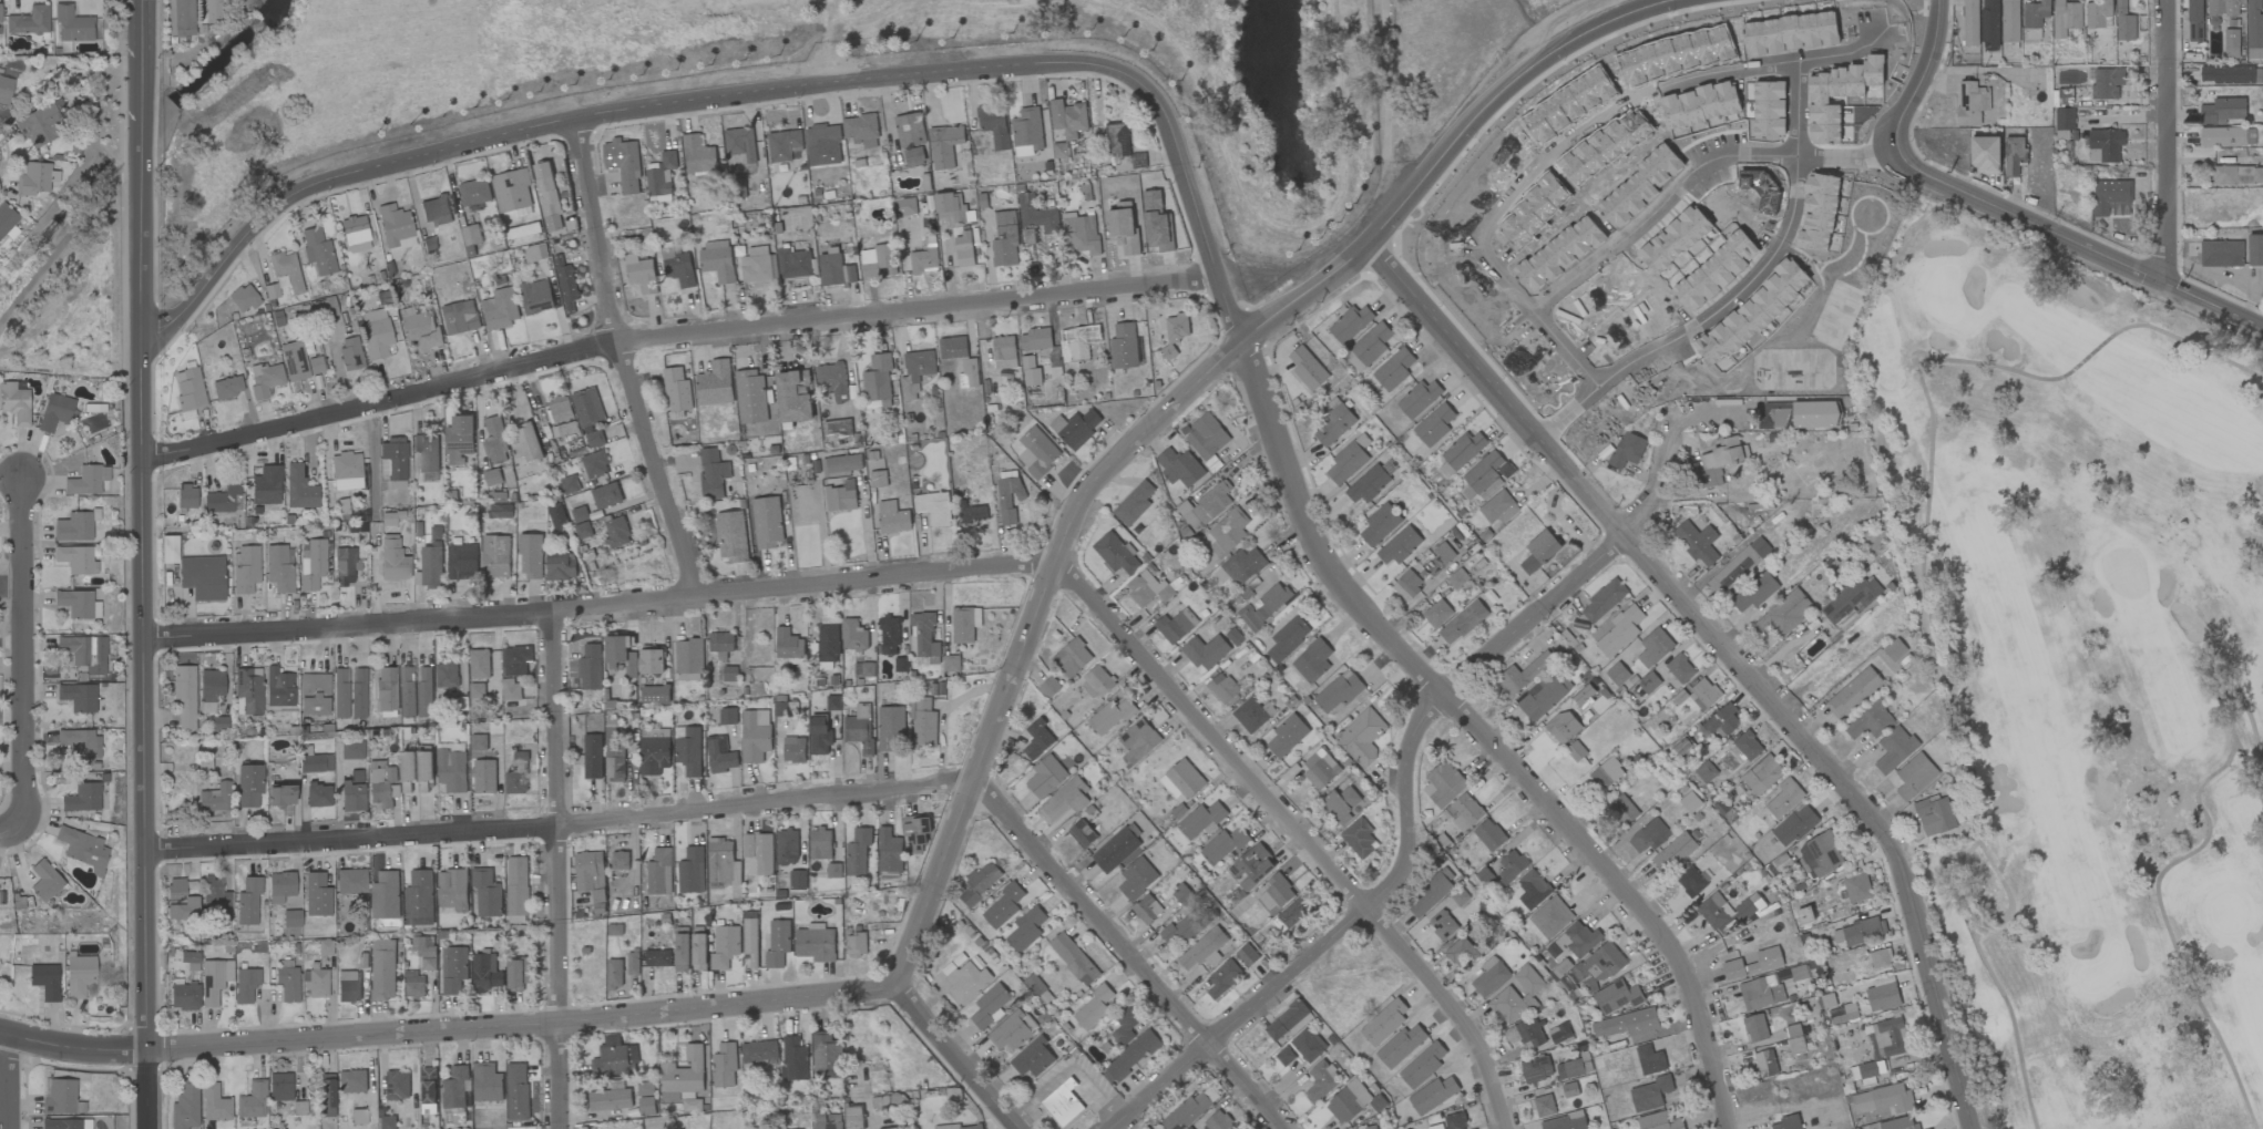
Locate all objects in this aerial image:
building: (243, 0)
building: (2224, 8)
building: (208, 10)
building: (2035, 13)
building: (2099, 14)
building: (178, 17)
building: (2065, 18)
road: (143, 19)
building: (28, 20)
building: (2009, 20)
building: (2194, 20)
building: (1969, 22)
building: (1989, 22)
building: (2123, 22)
building: (71, 23)
building: (2254, 30)
building: (1789, 33)
road: (830, 41)
building: (2231, 43)
building: (2230, 74)
road: (1921, 78)
building: (2107, 83)
building: (4, 89)
road: (142, 89)
building: (2064, 96)
building: (1700, 104)
building: (1968, 104)
road: (1795, 109)
road: (1382, 110)
road: (1614, 110)
building: (2222, 111)
building: (1068, 117)
building: (2064, 121)
building: (994, 124)
building: (35, 126)
building: (860, 130)
building: (909, 130)
building: (1026, 132)
building: (2222, 136)
road: (1176, 140)
building: (821, 142)
road: (2165, 142)
building: (740, 144)
building: (782, 145)
building: (944, 145)
building: (2105, 145)
building: (1122, 146)
building: (1985, 154)
building: (697, 155)
building: (2014, 155)
building: (913, 156)
building: (662, 175)
building: (2238, 175)
building: (1761, 189)
building: (474, 192)
building: (512, 193)
building: (547, 196)
building: (2111, 198)
building: (904, 207)
building: (950, 207)
building: (436, 211)
building: (1819, 212)
building: (1036, 215)
building: (6, 217)
building: (1157, 223)
building: (395, 226)
building: (1123, 228)
building: (355, 233)
building: (1081, 234)
building: (471, 235)
road: (64, 237)
building: (1004, 239)
building: (1673, 239)
road: (1617, 243)
road: (2076, 243)
building: (963, 249)
building: (2255, 249)
building: (317, 250)
building: (534, 253)
building: (2221, 254)
road: (1767, 260)
building: (717, 261)
building: (878, 261)
building: (793, 263)
building: (756, 265)
building: (677, 267)
building: (286, 269)
building: (834, 270)
building: (1714, 271)
building: (641, 274)
park: (66, 275)
building: (565, 285)
building: (243, 297)
building: (535, 297)
building: (500, 309)
building: (1753, 311)
building: (459, 317)
building: (1350, 324)
building: (419, 328)
building: (375, 332)
building: (1175, 332)
road: (675, 338)
building: (1035, 339)
building: (1124, 346)
building: (1368, 347)
building: (1076, 348)
building: (1004, 352)
building: (349, 353)
building: (298, 361)
road: (623, 363)
building: (969, 366)
building: (1307, 369)
building: (1394, 369)
building: (1031, 371)
building: (915, 372)
building: (264, 379)
building: (831, 380)
building: (877, 382)
building: (715, 383)
building: (226, 387)
building: (188, 389)
building: (676, 390)
building: (750, 397)
building: (792, 397)
building: (1419, 399)
building: (14, 402)
building: (587, 407)
building: (53, 411)
building: (561, 411)
road: (1568, 412)
building: (1776, 413)
building: (1815, 414)
building: (1333, 422)
building: (1434, 425)
building: (1075, 428)
building: (837, 429)
building: (1206, 437)
building: (459, 440)
building: (594, 440)
building: (494, 441)
building: (526, 443)
building: (1627, 450)
building: (427, 452)
building: (1036, 452)
building: (1462, 452)
building: (1348, 460)
building: (392, 461)
building: (1720, 461)
building: (841, 463)
building: (595, 464)
building: (1179, 468)
building: (346, 471)
building: (1487, 472)
building: (711, 474)
building: (878, 479)
building: (86, 480)
building: (266, 484)
building: (570, 484)
building: (1368, 484)
building: (298, 487)
building: (185, 495)
building: (606, 495)
building: (840, 496)
building: (222, 499)
building: (1008, 499)
building: (1134, 503)
building: (1208, 506)
building: (933, 507)
building: (1498, 507)
building: (971, 513)
building: (578, 514)
building: (555, 515)
building: (892, 517)
building: (767, 522)
building: (1379, 524)
building: (72, 526)
building: (581, 531)
building: (617, 533)
building: (1226, 533)
building: (731, 536)
building: (1697, 543)
building: (1399, 546)
building: (168, 548)
building: (1539, 552)
building: (1115, 554)
building: (495, 556)
building: (531, 556)
building: (76, 558)
building: (391, 560)
building: (310, 562)
building: (462, 562)
building: (342, 565)
building: (431, 566)
building: (561, 566)
building: (1738, 566)
building: (1240, 567)
building: (245, 568)
building: (277, 568)
road: (963, 571)
building: (202, 576)
building: (1407, 585)
road: (9, 586)
building: (1143, 587)
building: (1754, 592)
road: (143, 595)
building: (1850, 598)
building: (1602, 601)
building: (74, 603)
building: (1264, 606)
building: (1437, 614)
building: (1785, 614)
building: (1462, 623)
building: (964, 624)
building: (1176, 626)
building: (1620, 630)
building: (889, 635)
building: (853, 636)
building: (1287, 639)
building: (828, 643)
building: (720, 644)
building: (788, 644)
road: (1790, 644)
building: (1655, 647)
building: (1894, 649)
building: (84, 651)
building: (1206, 651)
road: (19, 653)
road: (1729, 653)
building: (621, 654)
building: (688, 656)
building: (1072, 658)
building: (651, 659)
building: (515, 660)
building: (1311, 660)
building: (479, 664)
building: (949, 664)
building: (590, 668)
building: (1680, 669)
park: (2083, 669)
building: (1523, 674)
building: (1617, 674)
building: (447, 675)
building: (1096, 682)
building: (278, 687)
building: (1225, 687)
building: (209, 688)
building: (1048, 688)
building: (247, 690)
building: (475, 690)
building: (511, 690)
building: (1340, 690)
building: (358, 691)
building: (386, 691)
building: (407, 691)
building: (314, 692)
building: (340, 692)
building: (424, 692)
building: (1853, 692)
building: (184, 695)
building: (655, 695)
building: (1703, 695)
building: (78, 696)
building: (1543, 696)
building: (832, 702)
building: (1252, 715)
building: (727, 716)
building: (1112, 716)
building: (1720, 720)
building: (1870, 721)
building: (216, 722)
building: (923, 723)
building: (1563, 727)
building: (859, 728)
building: (890, 729)
building: (654, 732)
building: (755, 735)
building: (819, 735)
building: (1287, 736)
building: (1361, 738)
road: (1415, 739)
building: (1037, 740)
road: (989, 741)
building: (1137, 741)
building: (80, 742)
building: (478, 742)
building: (1748, 746)
building: (350, 749)
building: (793, 749)
building: (1894, 749)
building: (688, 750)
building: (1575, 751)
building: (614, 753)
building: (720, 755)
building: (654, 756)
building: (592, 757)
building: (314, 762)
building: (1320, 768)
building: (408, 770)
building: (452, 770)
building: (424, 771)
building: (1706, 771)
building: (1606, 773)
building: (1762, 774)
building: (483, 777)
building: (516, 777)
building: (1046, 777)
building: (1914, 777)
building: (1181, 780)
building: (381, 783)
building: (248, 784)
building: (1443, 784)
building: (351, 791)
building: (317, 794)
building: (279, 796)
building: (81, 797)
building: (214, 797)
road: (792, 798)
building: (1784, 798)
building: (1065, 800)
building: (1690, 802)
building: (1341, 803)
building: (1622, 810)
building: (1465, 812)
building: (1934, 815)
building: (1200, 819)
building: (1794, 825)
road: (10, 829)
building: (917, 833)
building: (1083, 833)
building: (1489, 835)
building: (1649, 835)
building: (1359, 838)
building: (820, 844)
building: (1222, 845)
building: (787, 846)
building: (83, 849)
building: (1116, 849)
building: (759, 851)
building: (857, 851)
building: (889, 851)
building: (1673, 852)
building: (1821, 854)
building: (619, 861)
building: (723, 864)
building: (1253, 864)
building: (1511, 866)
road: (556, 870)
building: (690, 871)
building: (659, 872)
building: (591, 879)
building: (1137, 879)
building: (44, 880)
building: (797, 880)
building: (350, 881)
building: (1691, 882)
building: (980, 883)
building: (279, 885)
building: (516, 885)
building: (1856, 887)
building: (452, 890)
building: (1533, 890)
building: (487, 893)
building: (1276, 893)
building: (1430, 893)
building: (214, 894)
building: (315, 894)
building: (386, 895)
building: (419, 899)
building: (178, 900)
building: (247, 900)
building: (1003, 905)
building: (1750, 907)
building: (1147, 909)
building: (1714, 911)
building: (1296, 912)
building: (1804, 915)
building: (290, 917)
building: (1550, 917)
building: (1442, 925)
building: (1025, 928)
building: (1179, 931)
building: (1861, 931)
building: (749, 937)
building: (1580, 938)
building: (778, 943)
building: (815, 944)
building: (854, 944)
building: (724, 947)
building: (682, 950)
building: (1204, 950)
building: (424, 952)
building: (698, 952)
building: (1461, 953)
building: (1247, 955)
building: (188, 956)
building: (657, 958)
building: (1073, 958)
building: (1880, 958)
building: (1765, 961)
building: (1597, 966)
building: (382, 969)
building: (452, 969)
building: (1733, 969)
building: (484, 973)
building: (616, 973)
building: (79, 974)
building: (518, 974)
building: (1489, 976)
building: (1223, 978)
building: (213, 979)
building: (44, 981)
building: (1528, 981)
building: (287, 983)
building: (315, 983)
building: (244, 984)
building: (348, 985)
building: (412, 985)
building: (1761, 992)
building: (1882, 995)
building: (183, 996)
building: (1617, 997)
building: (1507, 1006)
building: (989, 1007)
building: (1094, 1007)
building: (1288, 1020)
building: (1384, 1022)
building: (1630, 1023)
building: (1124, 1025)
building: (1754, 1028)
building: (1012, 1030)
building: (1524, 1034)
building: (1559, 1034)
building: (1890, 1037)
building: (1308, 1045)
building: (1400, 1046)
road: (73, 1047)
building: (758, 1054)
building: (826, 1055)
building: (1284, 1056)
building: (615, 1057)
building: (1129, 1057)
road: (959, 1058)
building: (1032, 1058)
building: (793, 1059)
building: (1650, 1060)
building: (1765, 1064)
building: (1423, 1065)
building: (724, 1066)
building: (1576, 1068)
building: (1536, 1069)
building: (684, 1072)
building: (1867, 1072)
building: (351, 1080)
building: (1320, 1080)
road: (9, 1082)
building: (487, 1082)
building: (279, 1086)
building: (397, 1086)
building: (428, 1086)
building: (454, 1087)
road: (149, 1090)
building: (516, 1091)
building: (325, 1094)
building: (1650, 1094)
building: (1432, 1095)
building: (61, 1097)
building: (252, 1099)
building: (610, 1099)
building: (1882, 1099)
building: (685, 1100)
building: (1348, 1101)
building: (213, 1102)
building: (1062, 1104)
building: (184, 1105)
building: (646, 1106)
building: (1544, 1106)
building: (1187, 1111)
building: (853, 1117)
building: (827, 1120)
building: (1217, 1121)
building: (1454, 1121)
building: (1566, 1121)
building: (1659, 1121)
building: (387, 1122)
building: (1788, 1122)
building: (64, 1123)
building: (1898, 1123)
building: (962, 1127)
building: (1371, 1127)
building: (892, 1128)

